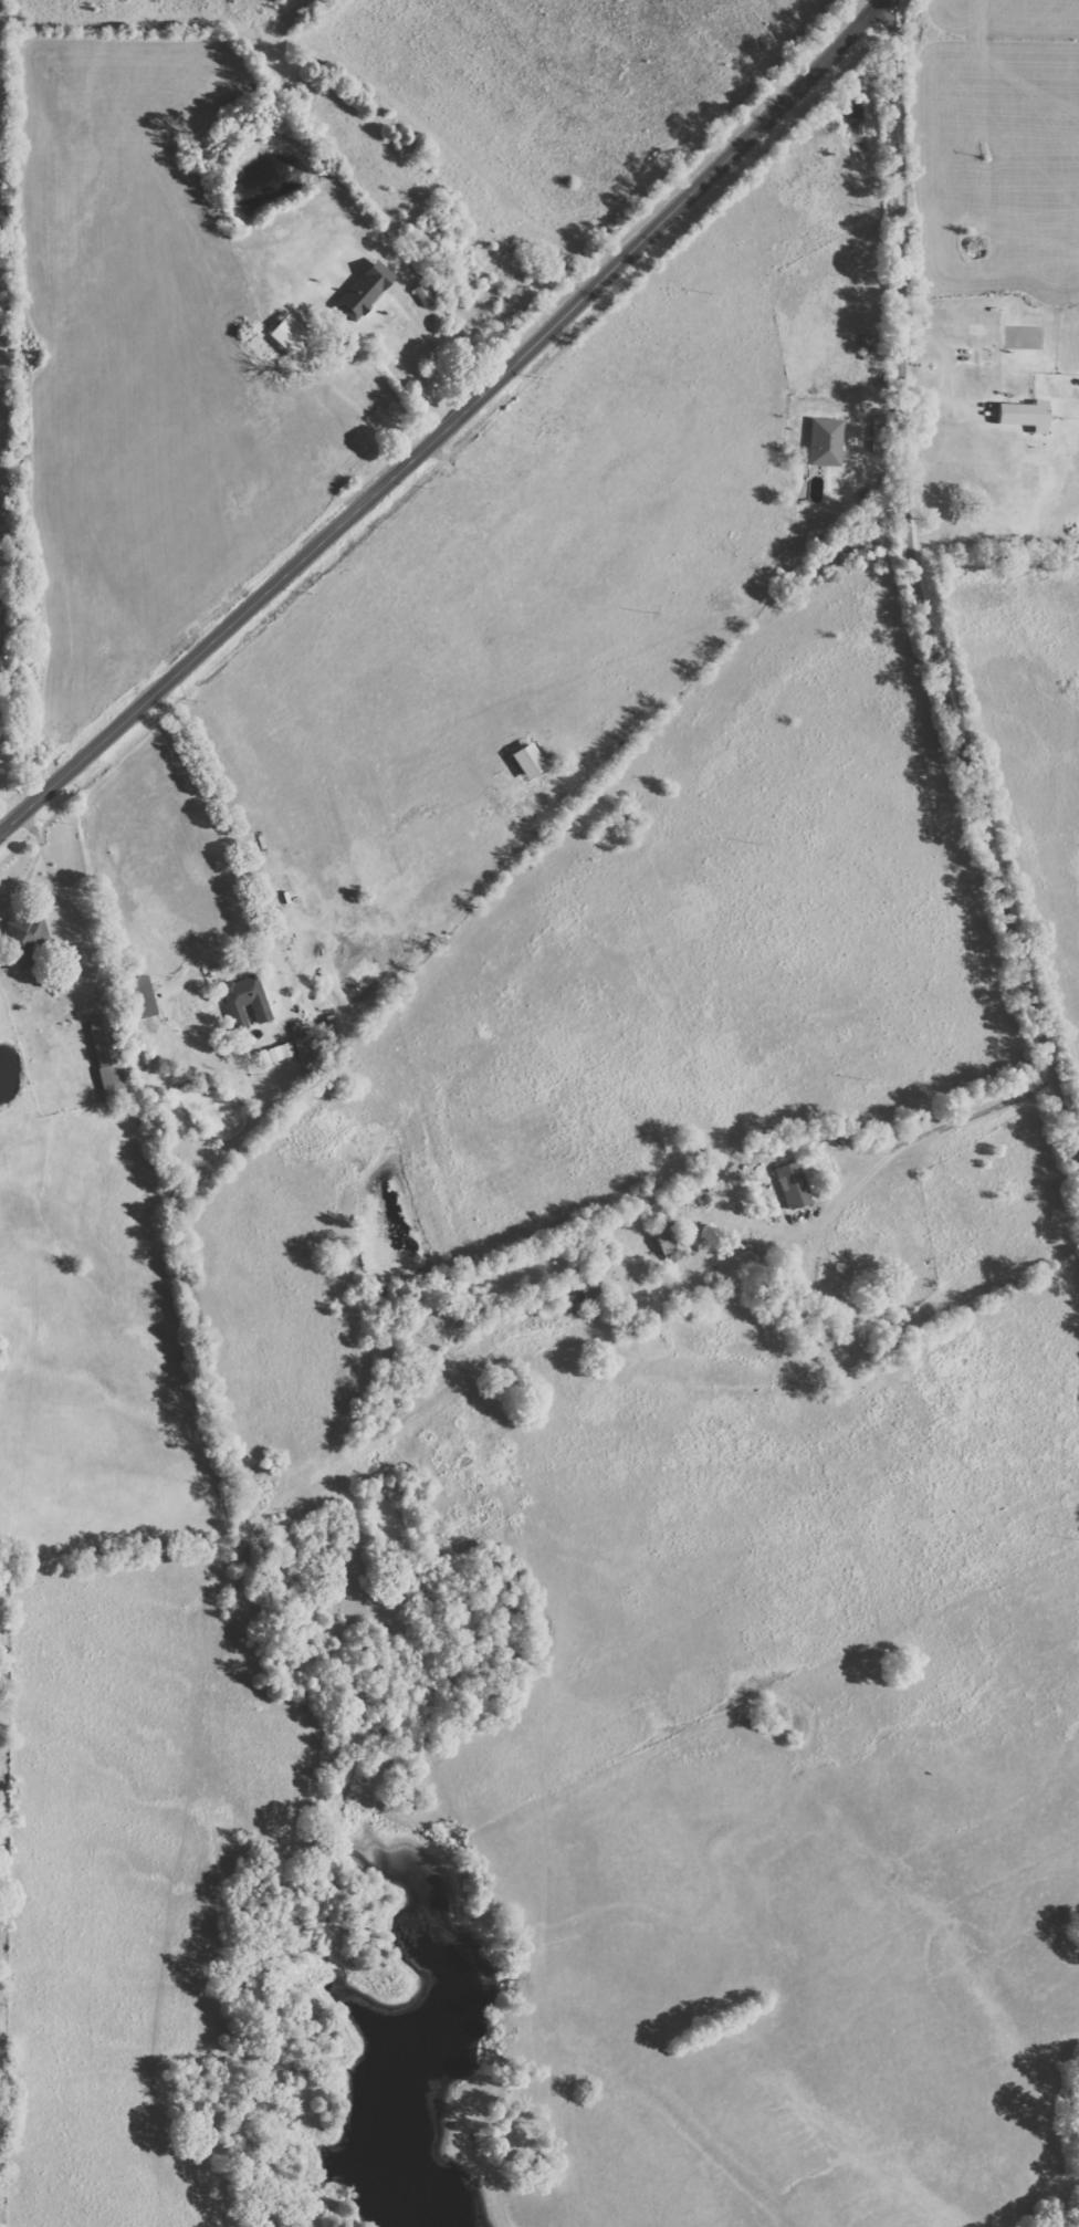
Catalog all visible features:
building: (364, 290)
building: (422, 294)
building: (289, 334)
road: (433, 348)
building: (1024, 415)
road: (451, 422)
building: (825, 441)
road: (934, 588)
building: (527, 761)
road: (240, 851)
road: (34, 857)
road: (49, 884)
building: (25, 937)
building: (143, 996)
building: (245, 999)
building: (292, 1049)
road: (836, 1144)
road: (876, 1163)
building: (793, 1185)
building: (666, 1235)

